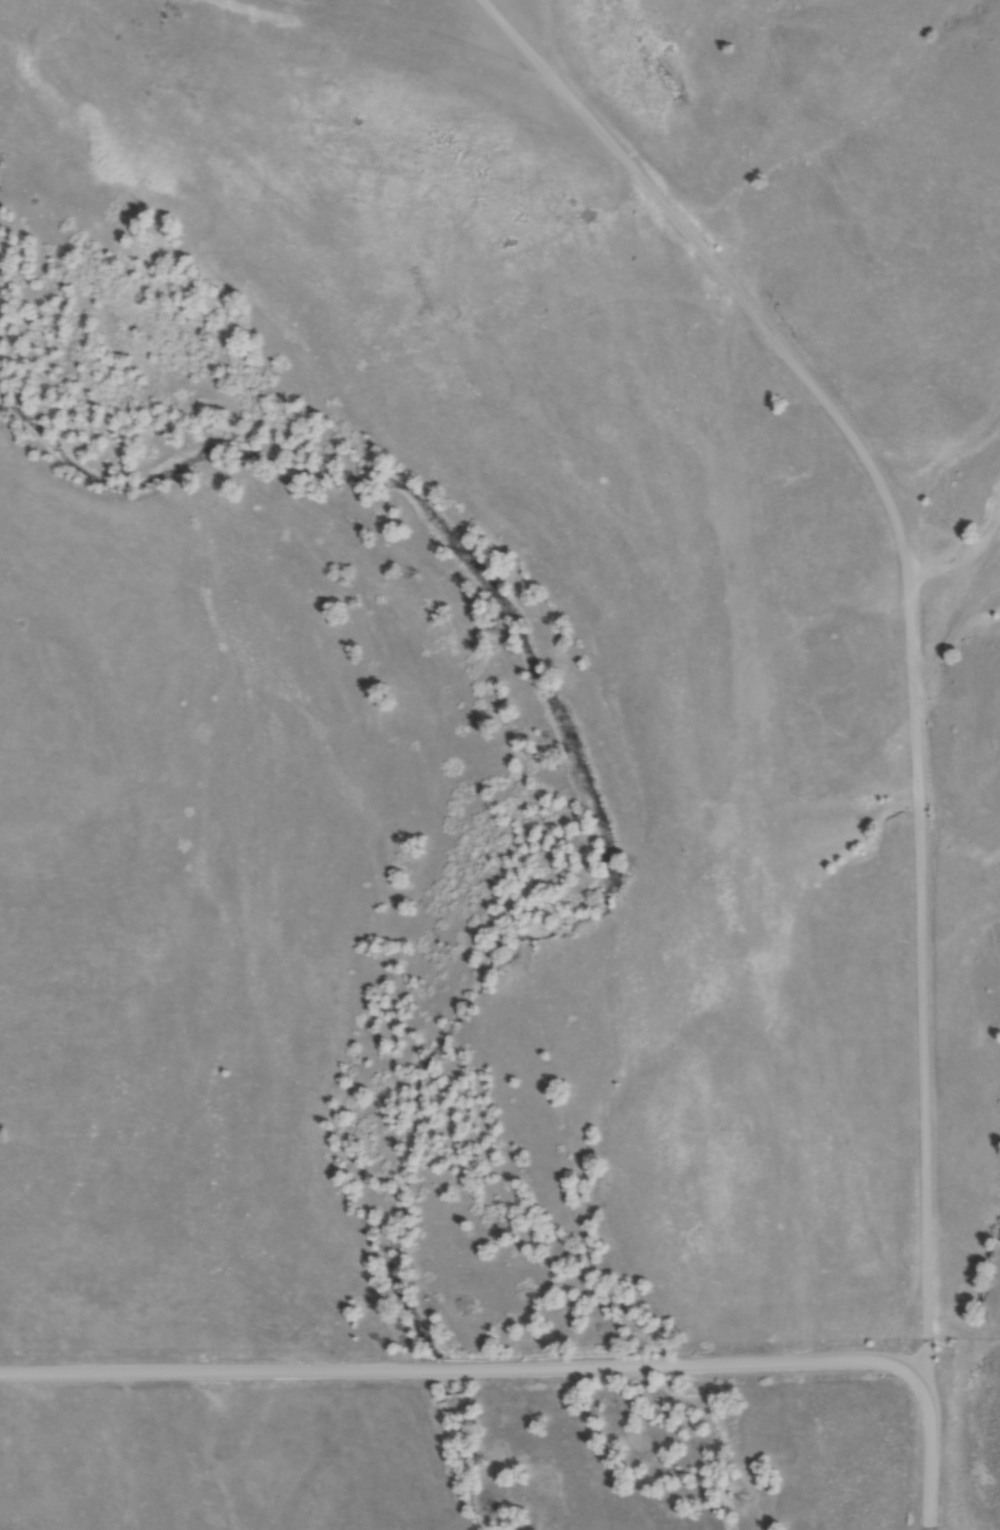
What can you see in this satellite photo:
road: (936, 1069)
road: (462, 1367)

